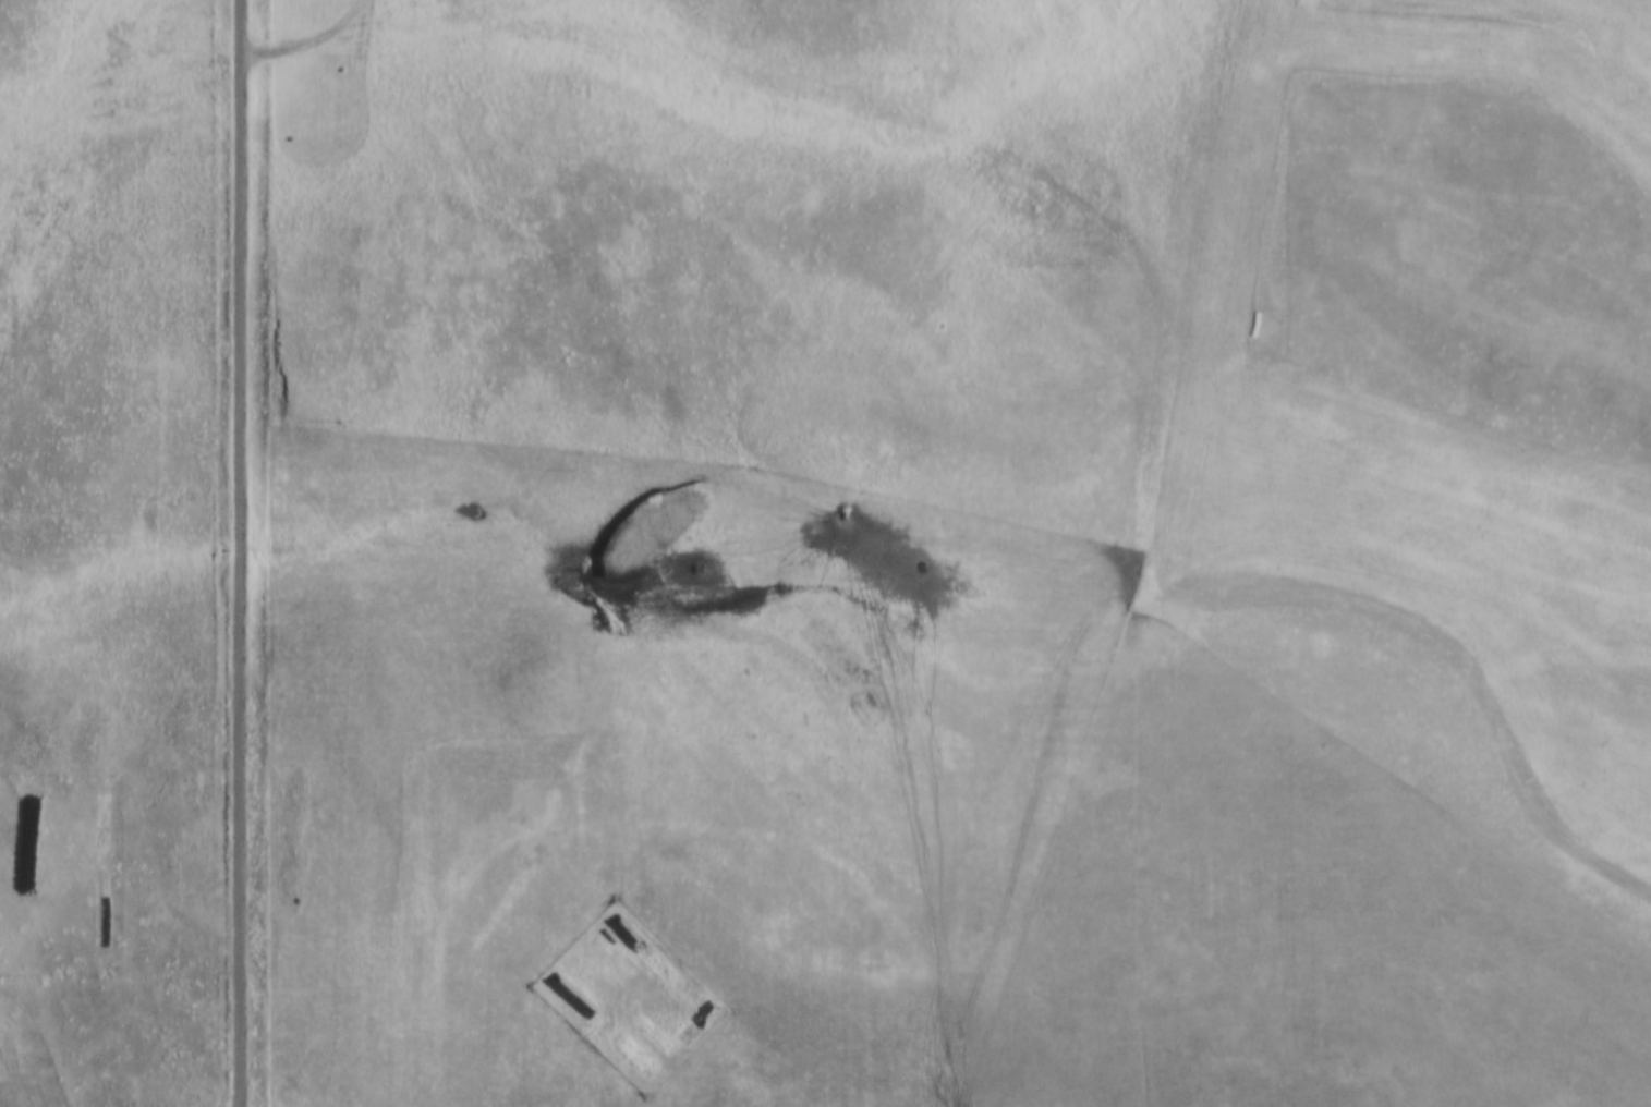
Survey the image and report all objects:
road: (235, 552)

